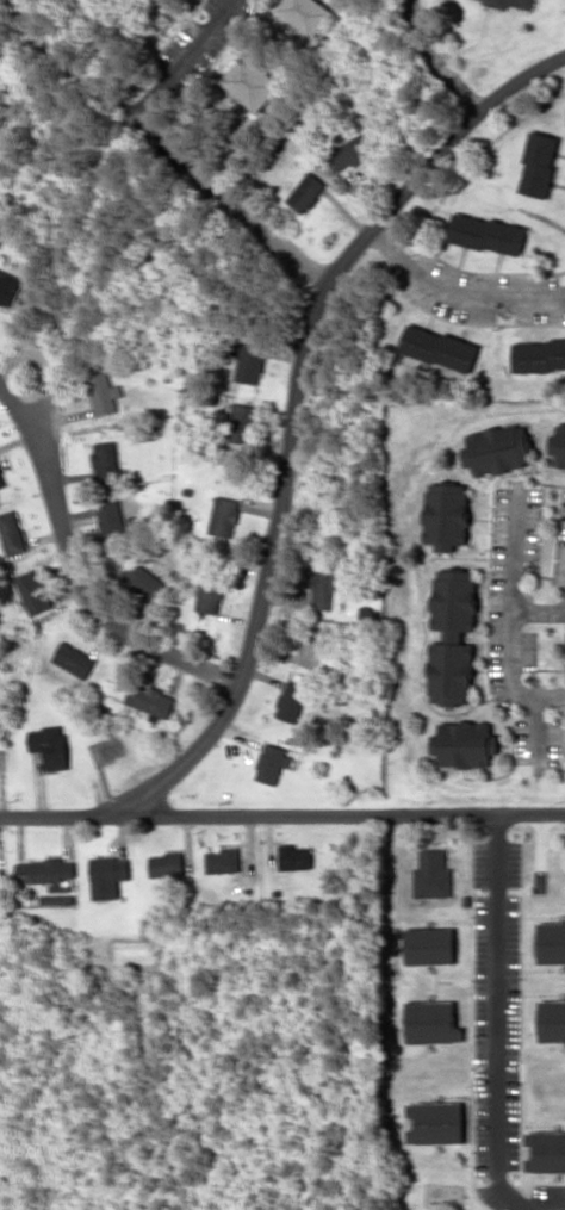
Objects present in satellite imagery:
building: (510, 4)
building: (305, 14)
road: (184, 57)
building: (250, 82)
building: (352, 151)
building: (539, 163)
building: (306, 192)
road: (231, 201)
building: (488, 234)
building: (8, 286)
building: (440, 347)
building: (539, 354)
building: (249, 362)
building: (103, 392)
road: (296, 407)
building: (240, 422)
building: (558, 445)
building: (497, 448)
building: (105, 460)
building: (2, 477)
building: (224, 515)
building: (446, 515)
building: (111, 520)
building: (11, 532)
road: (79, 569)
building: (143, 579)
building: (328, 589)
building: (32, 591)
building: (210, 592)
road: (539, 612)
road: (513, 618)
building: (452, 637)
building: (73, 659)
building: (150, 701)
building: (292, 701)
building: (464, 743)
building: (50, 745)
building: (272, 762)
road: (282, 814)
building: (296, 856)
building: (223, 860)
building: (167, 864)
building: (48, 871)
building: (433, 874)
building: (108, 875)
building: (56, 899)
building: (552, 942)
building: (430, 945)
building: (552, 1020)
building: (431, 1022)
building: (437, 1122)
building: (546, 1152)

